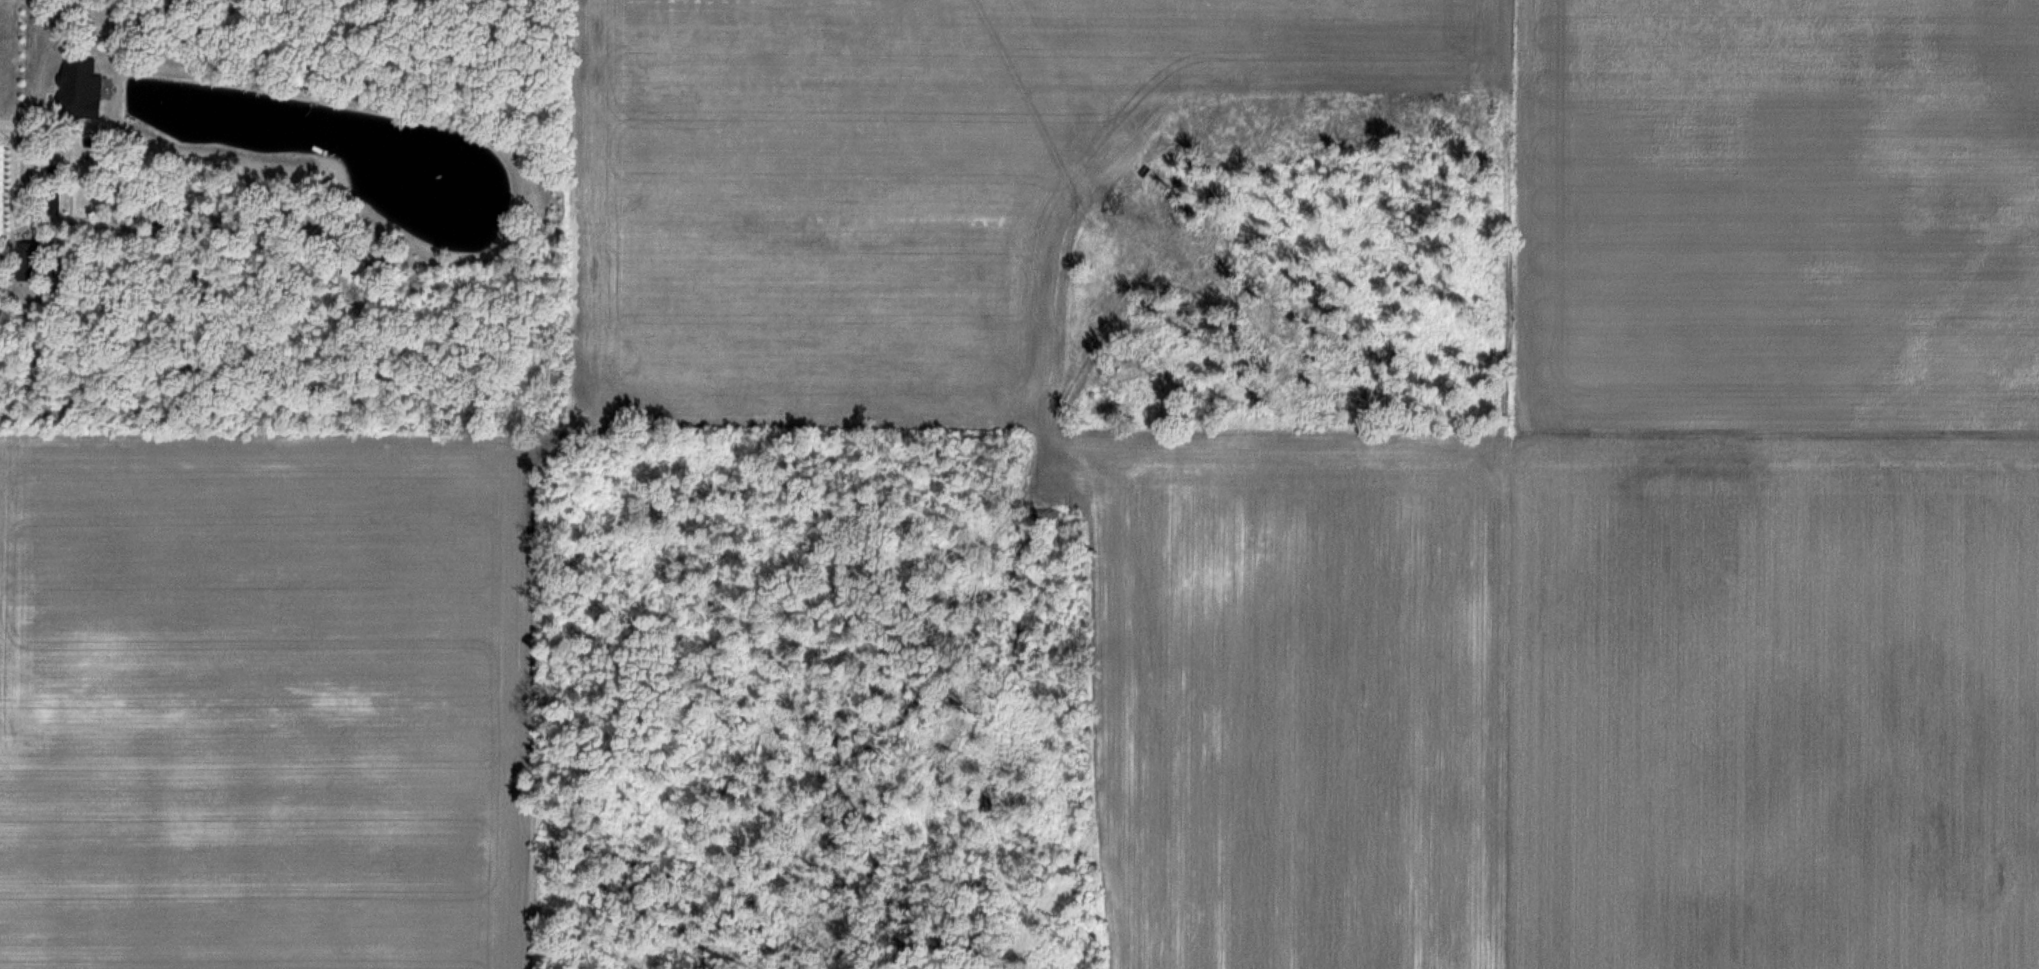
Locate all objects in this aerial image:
road: (19, 165)

